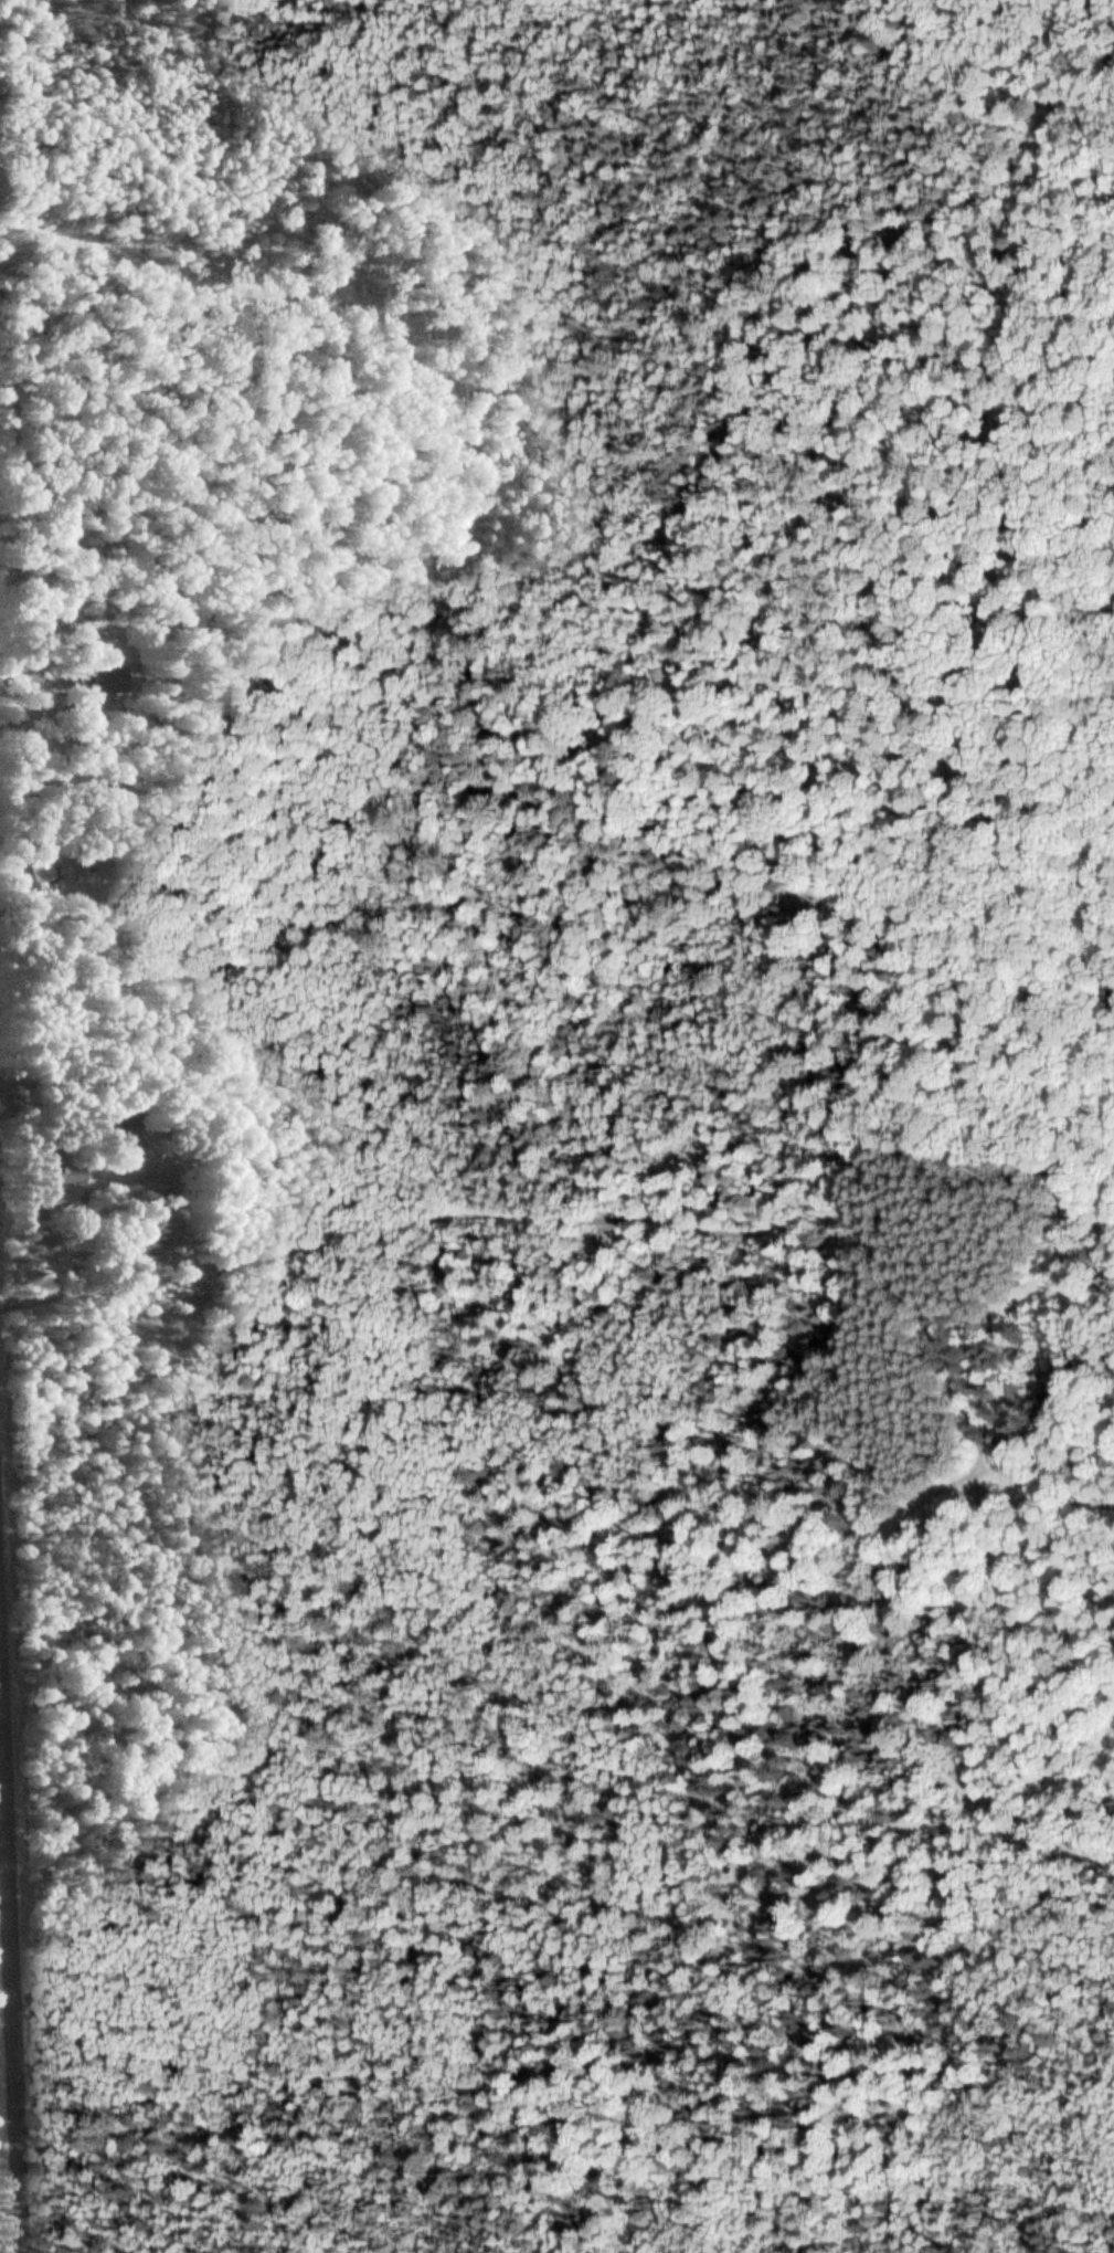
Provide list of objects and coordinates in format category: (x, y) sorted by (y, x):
building: (52, 1170)
road: (32, 1209)
road: (10, 1977)

